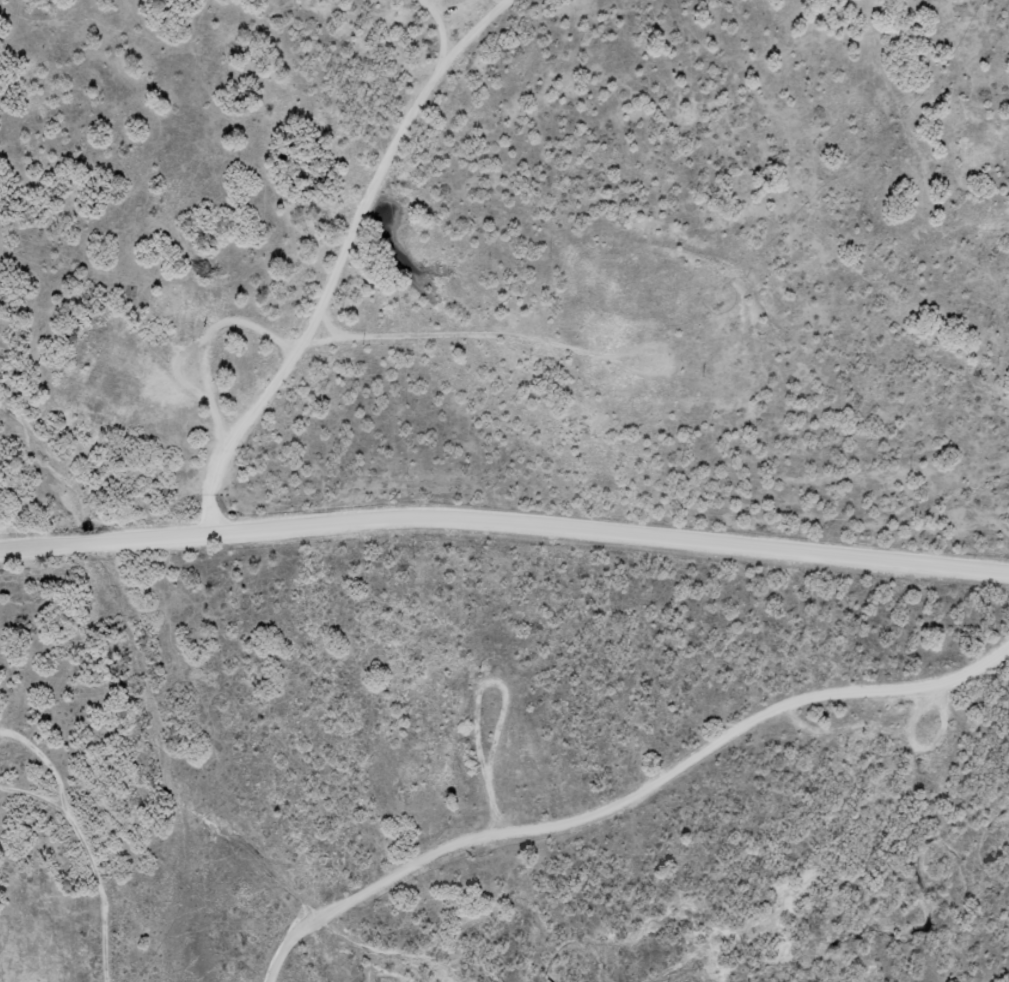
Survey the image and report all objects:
road: (505, 520)
road: (655, 810)

